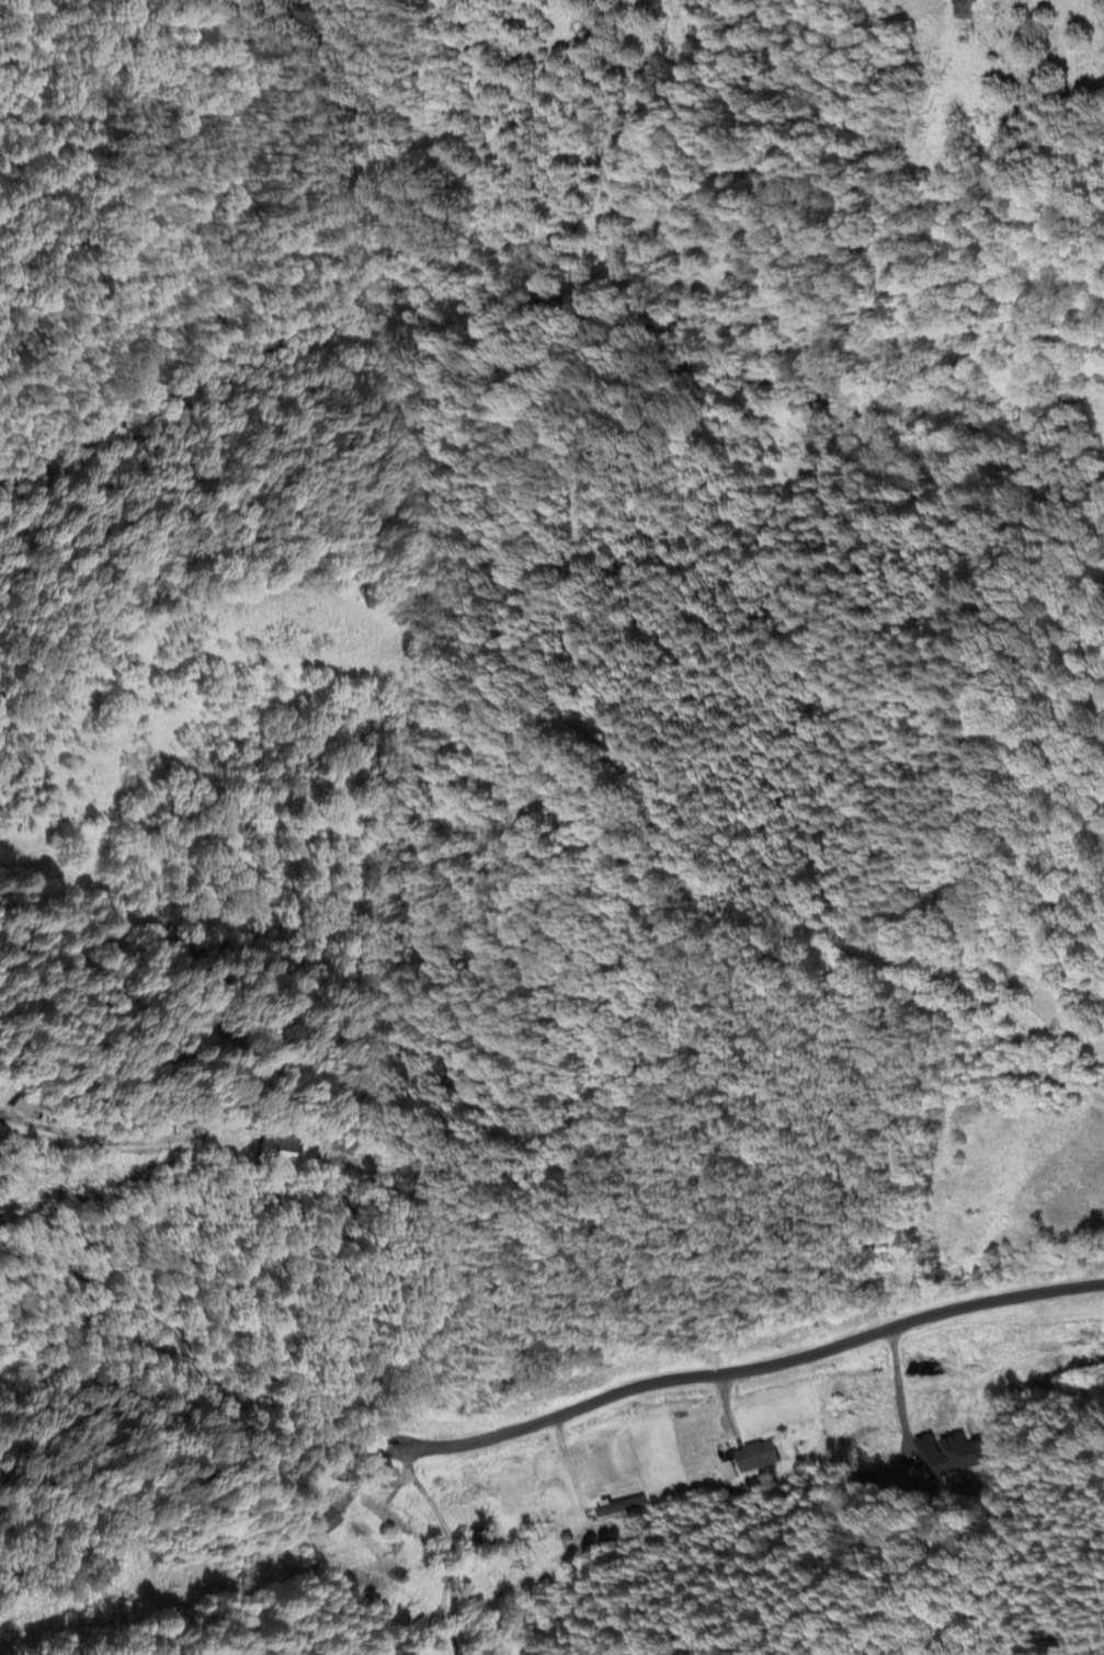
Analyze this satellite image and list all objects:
park: (1101, 1070)
building: (22, 1108)
building: (277, 1153)
road: (644, 1380)
building: (951, 1456)
building: (759, 1458)
building: (622, 1507)
road: (454, 1550)

